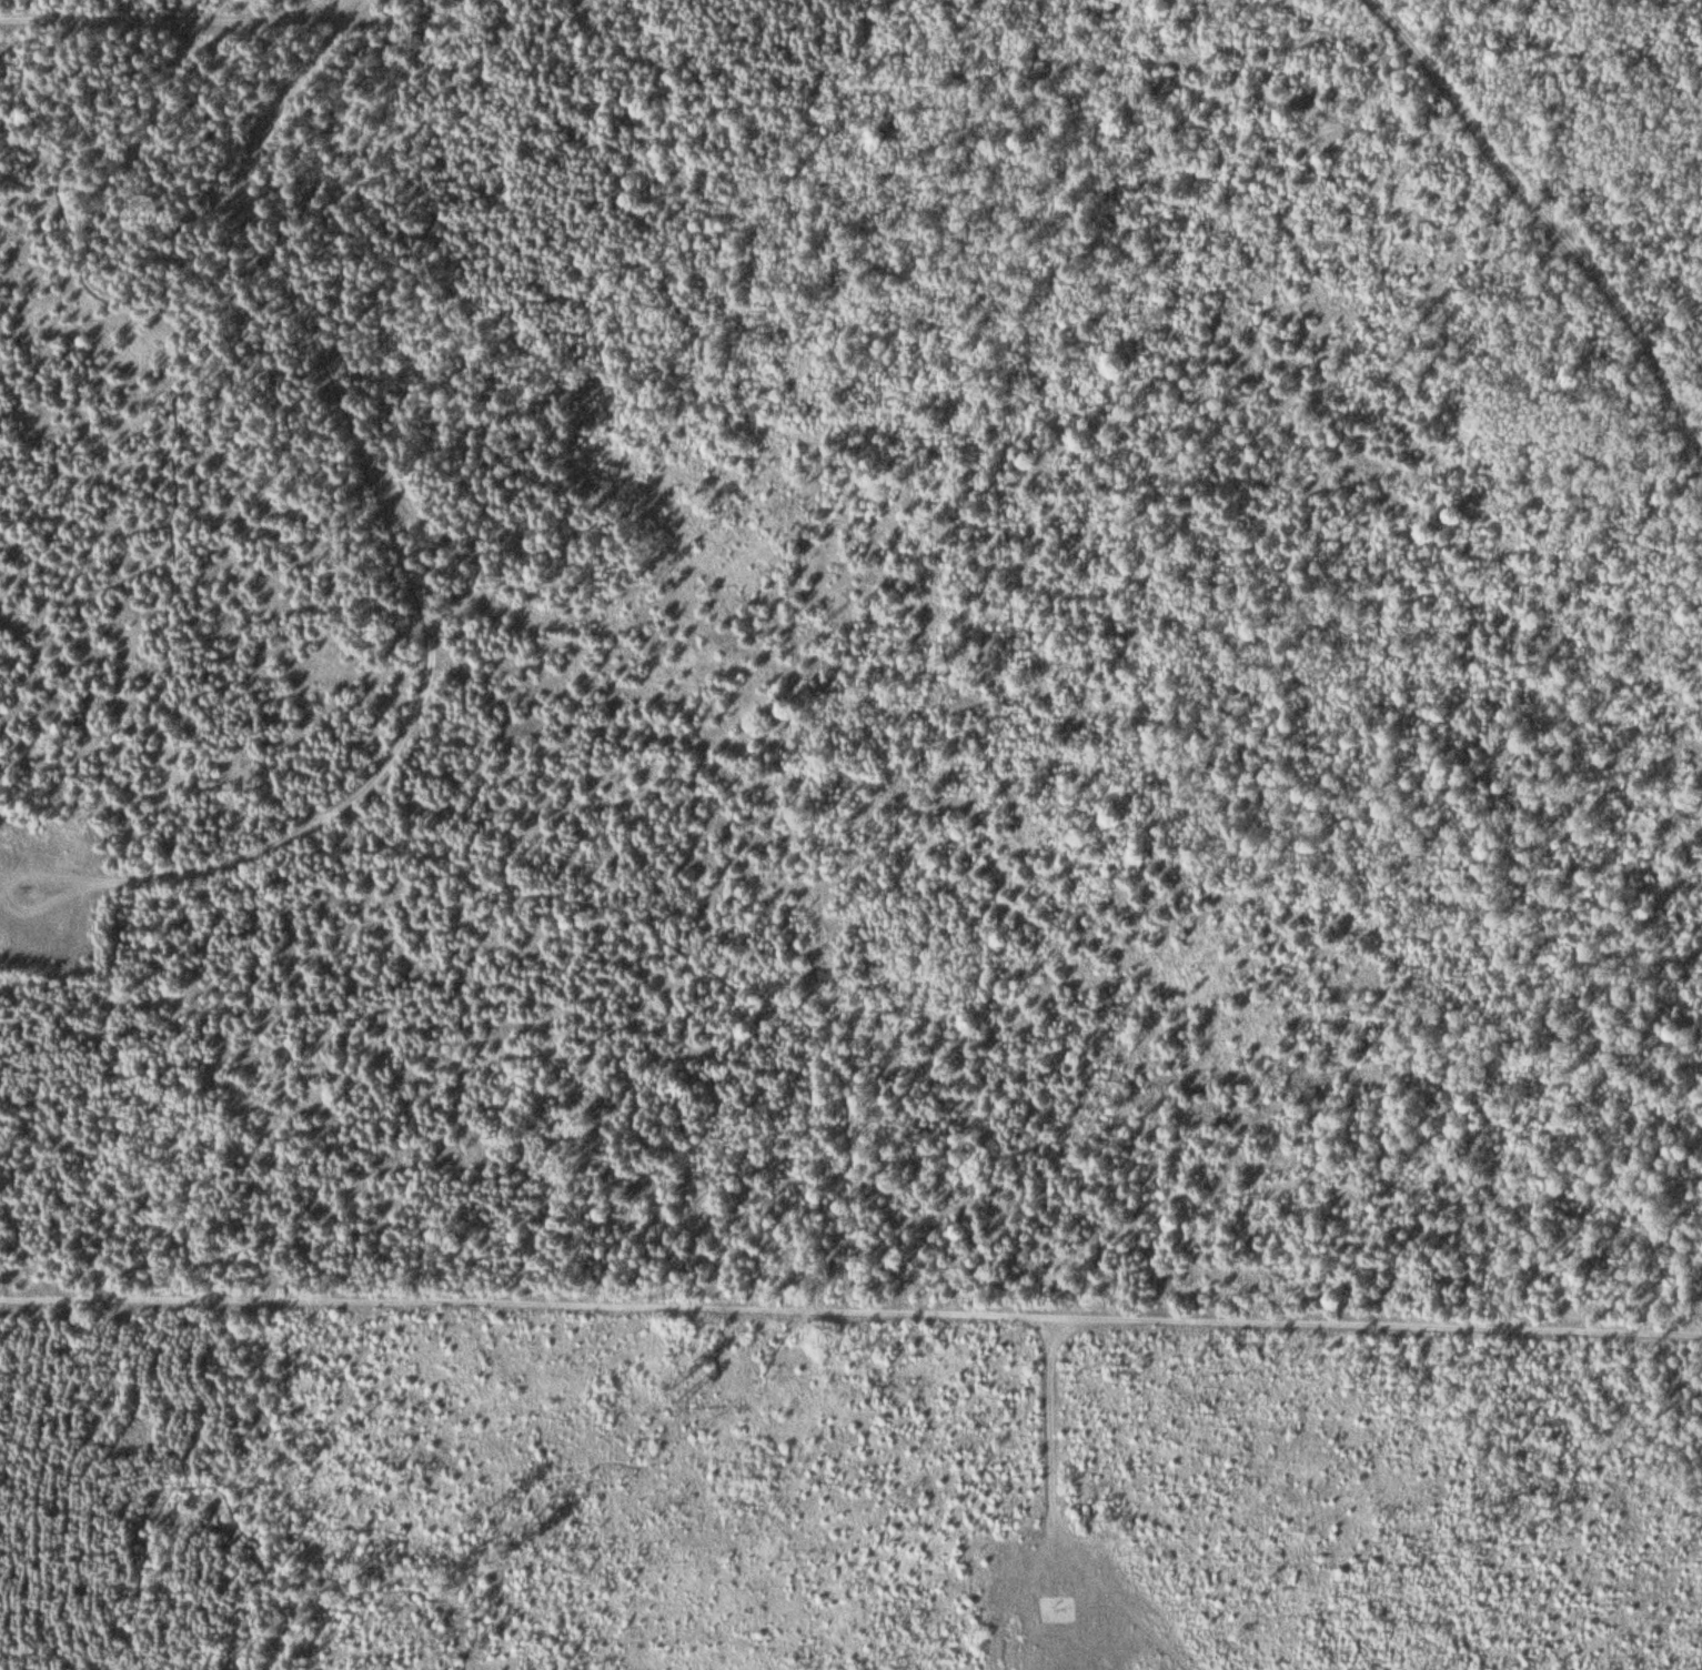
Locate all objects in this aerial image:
road: (179, 17)
road: (1549, 202)
road: (385, 509)
road: (8, 896)
road: (685, 959)
road: (850, 1312)

